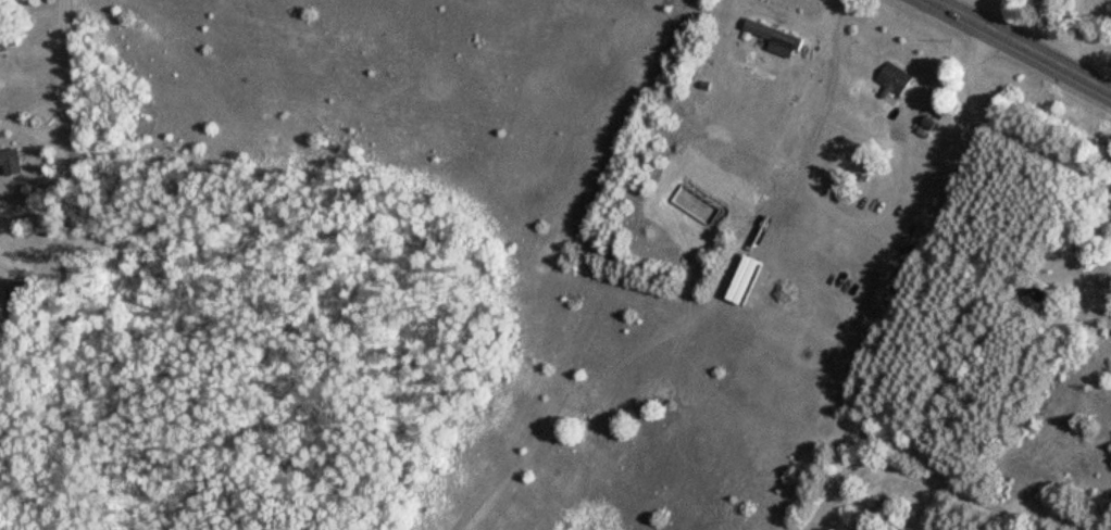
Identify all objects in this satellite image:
park: (1068, 21)
building: (772, 34)
road: (1073, 37)
building: (1, 42)
road: (1021, 47)
building: (894, 78)
building: (12, 162)
road: (65, 265)
building: (15, 302)

